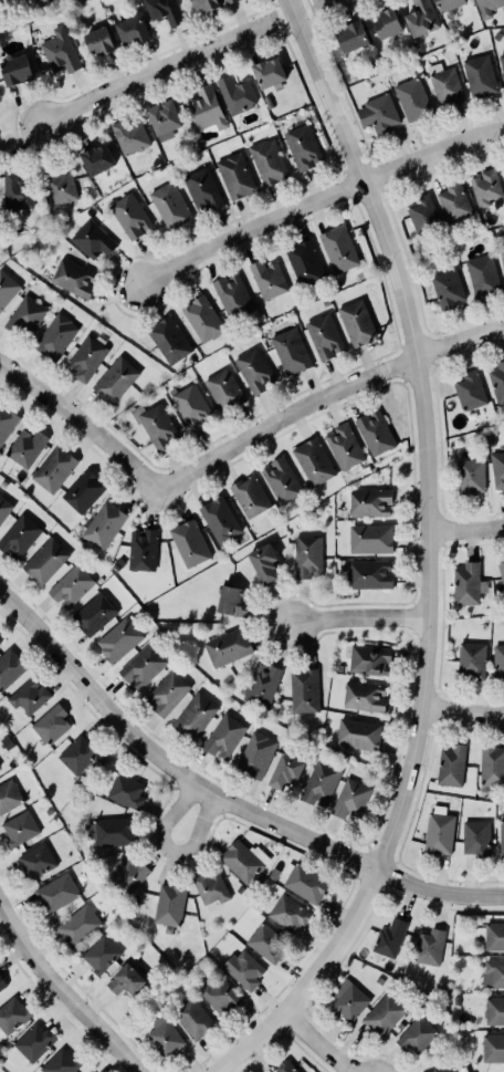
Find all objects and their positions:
building: (227, 0)
building: (43, 1)
building: (206, 3)
building: (447, 3)
building: (486, 7)
building: (164, 11)
building: (420, 17)
building: (387, 23)
building: (132, 30)
building: (350, 35)
building: (99, 42)
building: (61, 51)
road: (178, 62)
building: (502, 63)
building: (15, 70)
building: (267, 70)
building: (477, 74)
building: (443, 83)
building: (234, 93)
building: (411, 97)
building: (207, 108)
building: (377, 113)
building: (162, 119)
building: (129, 135)
building: (301, 145)
building: (97, 159)
building: (266, 160)
building: (503, 170)
building: (234, 175)
building: (484, 186)
building: (59, 187)
building: (14, 188)
building: (201, 188)
road: (314, 199)
building: (452, 200)
building: (169, 204)
building: (130, 216)
building: (93, 239)
building: (337, 249)
building: (502, 253)
building: (302, 260)
building: (482, 274)
building: (72, 277)
building: (266, 278)
building: (6, 287)
building: (445, 288)
building: (230, 293)
building: (25, 315)
building: (201, 320)
building: (354, 321)
building: (323, 334)
building: (55, 337)
building: (168, 337)
building: (287, 348)
building: (85, 360)
building: (252, 367)
building: (114, 378)
building: (497, 382)
building: (469, 389)
building: (223, 391)
road: (326, 397)
building: (189, 407)
building: (4, 416)
building: (154, 421)
road: (81, 427)
building: (372, 430)
building: (24, 445)
building: (340, 445)
building: (314, 459)
building: (53, 468)
building: (497, 469)
building: (471, 476)
building: (277, 478)
building: (83, 491)
building: (246, 495)
building: (369, 500)
building: (4, 511)
building: (219, 519)
building: (103, 524)
road: (469, 528)
building: (19, 538)
building: (369, 538)
building: (188, 542)
building: (137, 547)
building: (304, 552)
road: (434, 558)
building: (262, 559)
building: (45, 562)
building: (369, 572)
building: (501, 572)
building: (468, 584)
building: (71, 586)
building: (227, 596)
road: (358, 615)
building: (93, 616)
building: (0, 642)
building: (118, 642)
building: (227, 646)
building: (470, 658)
building: (369, 659)
building: (497, 659)
building: (10, 668)
building: (141, 668)
building: (259, 680)
building: (302, 688)
building: (28, 695)
building: (166, 695)
building: (364, 696)
road: (464, 712)
building: (193, 718)
building: (52, 725)
building: (358, 735)
building: (223, 737)
building: (77, 753)
building: (255, 754)
road: (164, 763)
building: (450, 763)
building: (491, 767)
building: (284, 773)
building: (123, 785)
building: (321, 785)
building: (8, 794)
building: (349, 800)
building: (19, 826)
building: (437, 829)
building: (109, 830)
building: (473, 833)
building: (501, 835)
road: (168, 850)
building: (238, 857)
building: (35, 858)
building: (132, 867)
building: (304, 883)
building: (209, 887)
building: (55, 892)
road: (437, 892)
building: (167, 907)
building: (284, 908)
building: (77, 926)
building: (493, 933)
building: (390, 934)
building: (265, 940)
building: (427, 940)
building: (98, 953)
building: (239, 968)
building: (492, 970)
building: (125, 975)
building: (1, 980)
road: (62, 995)
building: (218, 996)
building: (347, 1002)
building: (493, 1009)
building: (10, 1012)
building: (381, 1013)
building: (190, 1016)
building: (164, 1033)
building: (414, 1034)
building: (31, 1040)
road: (315, 1043)
building: (493, 1048)
building: (60, 1061)
building: (283, 1066)
building: (433, 1066)

